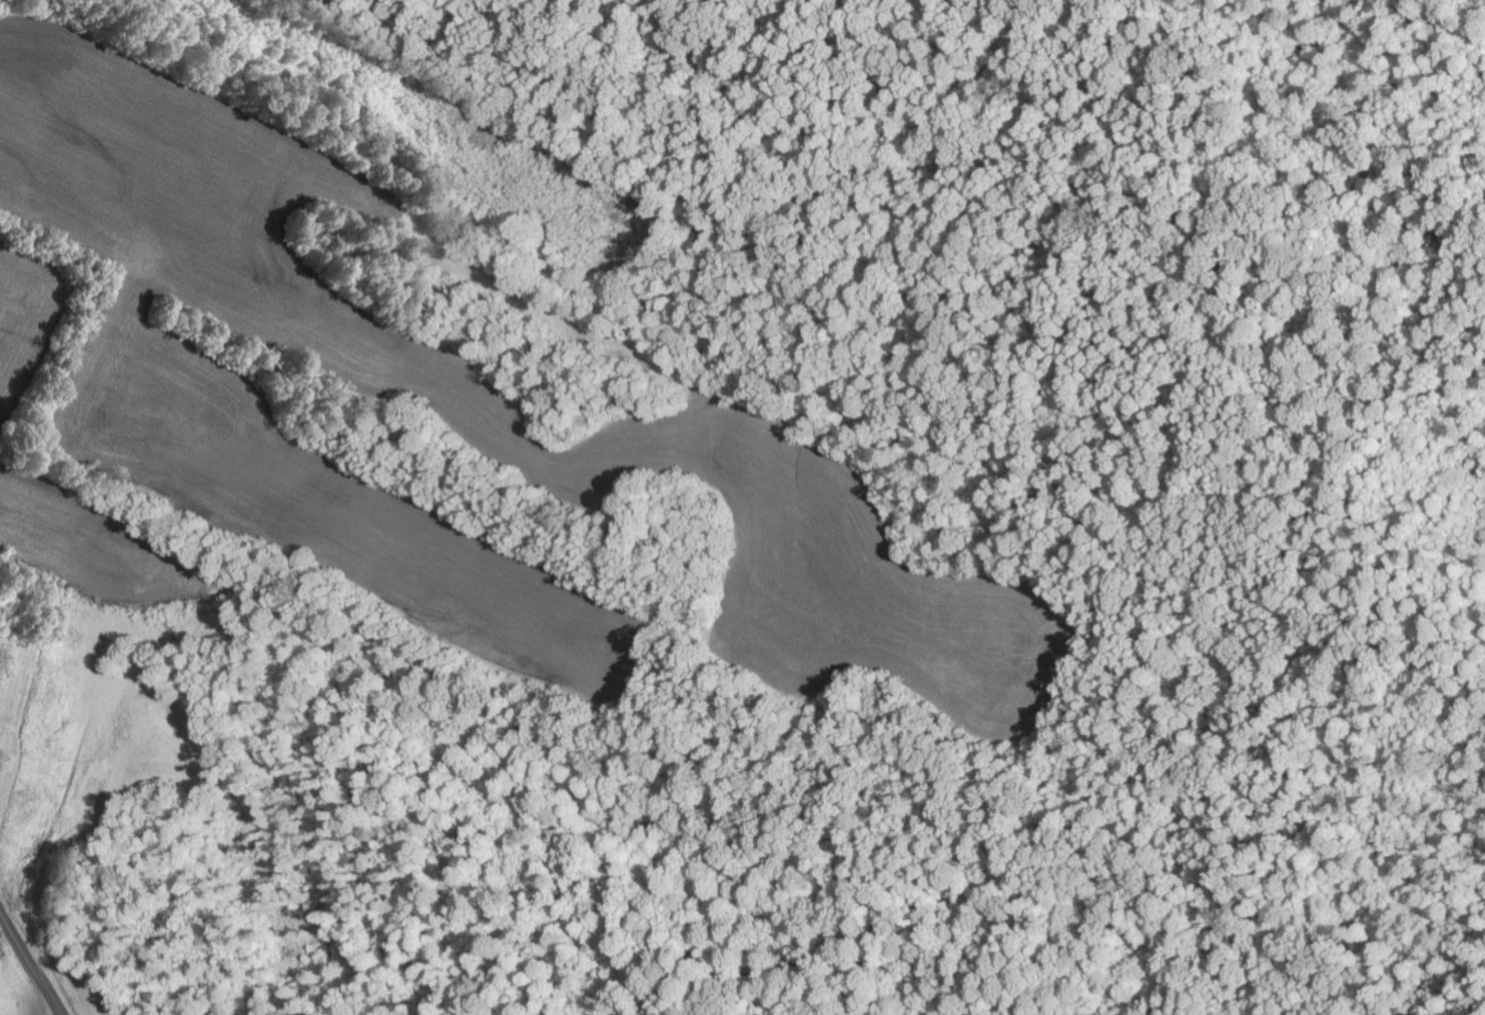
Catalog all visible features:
road: (31, 964)

